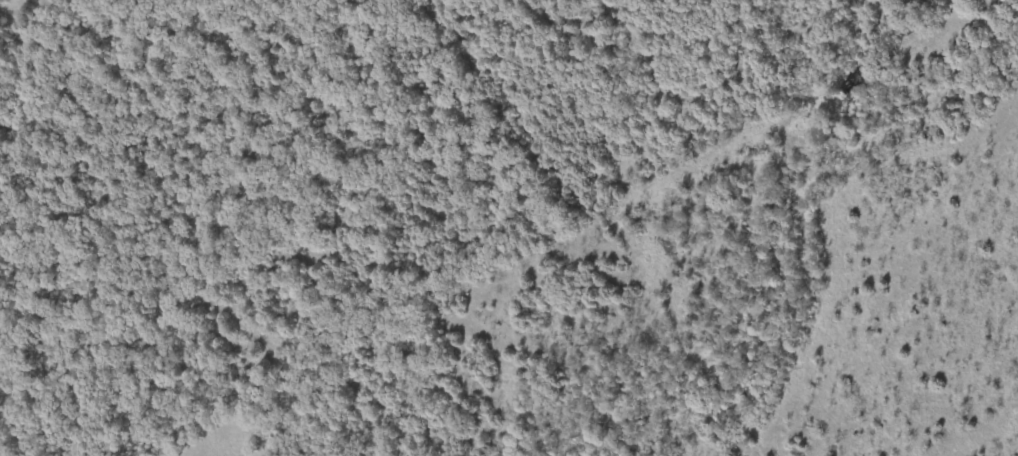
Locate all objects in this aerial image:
road: (802, 185)
road: (763, 332)

